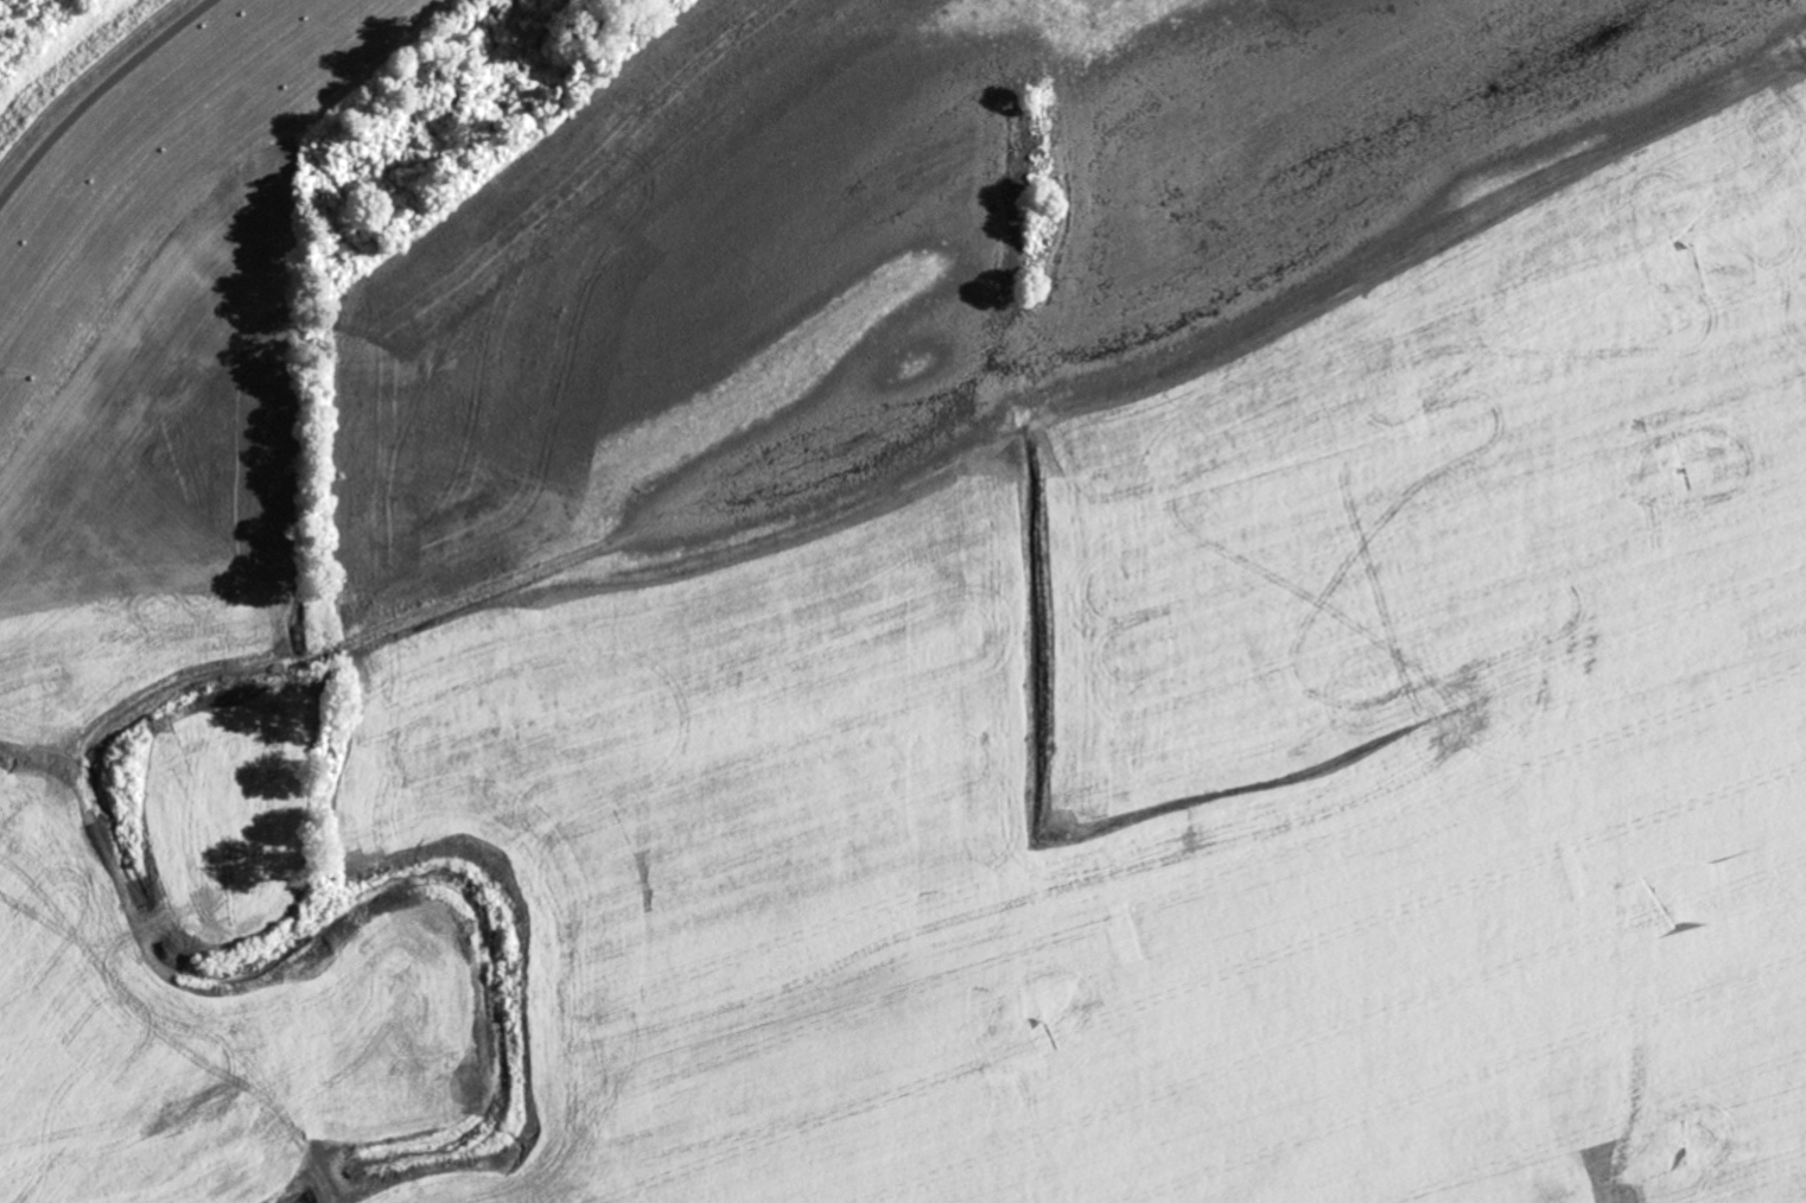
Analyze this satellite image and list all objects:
road: (97, 95)

